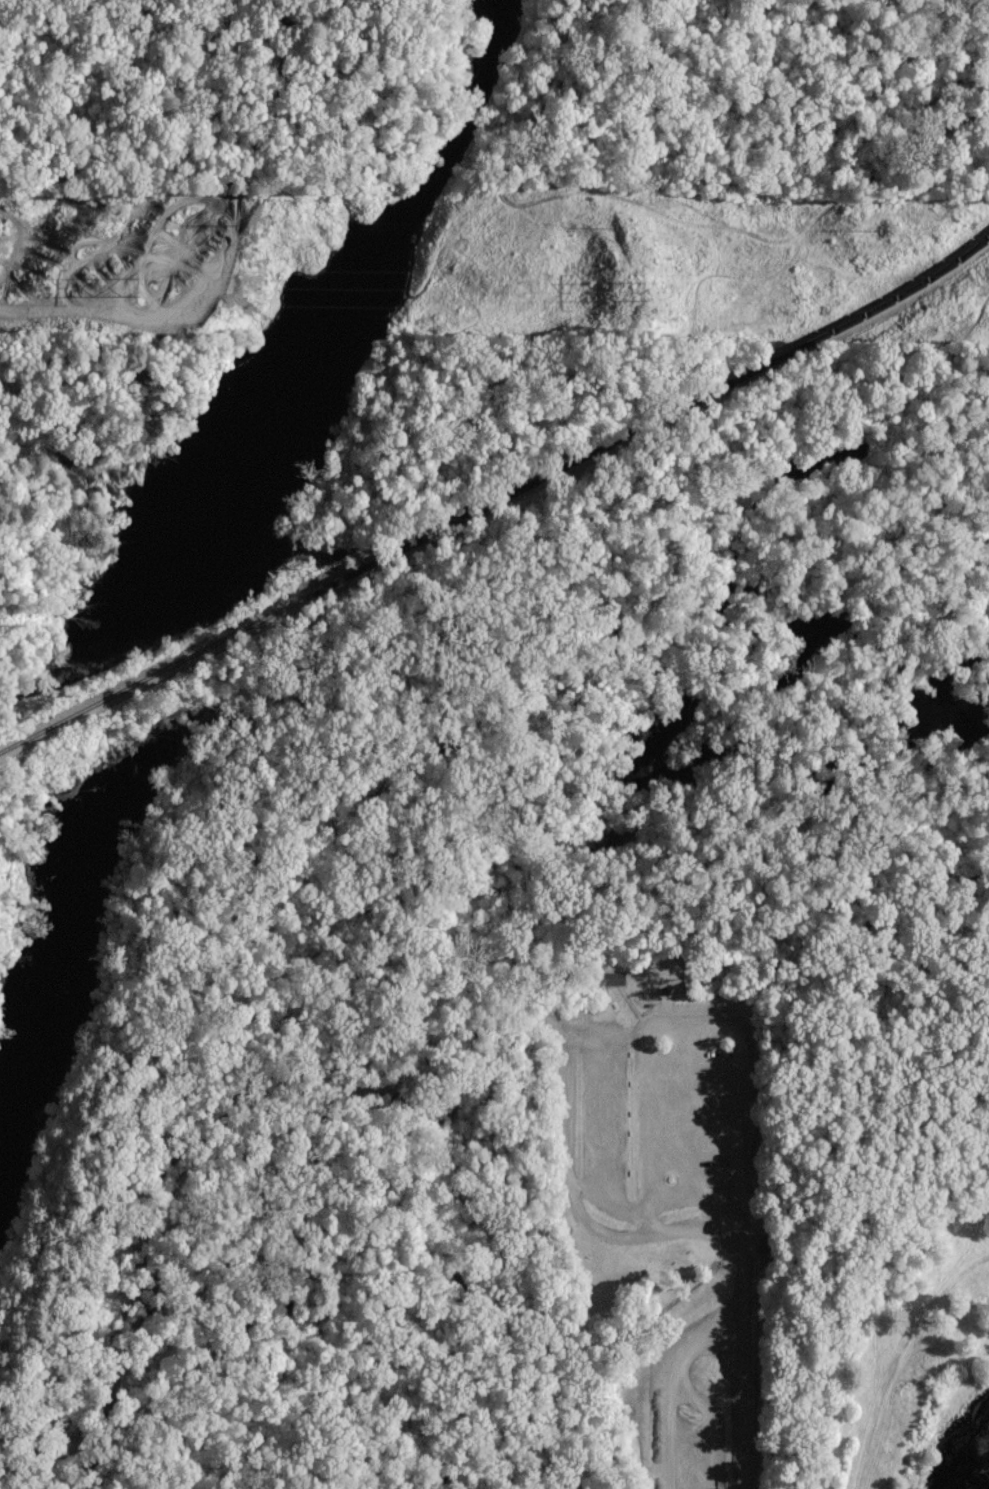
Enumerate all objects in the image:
power tower: (639, 282)
power tower: (132, 284)
railway: (497, 501)
building: (613, 977)
road: (743, 1219)

